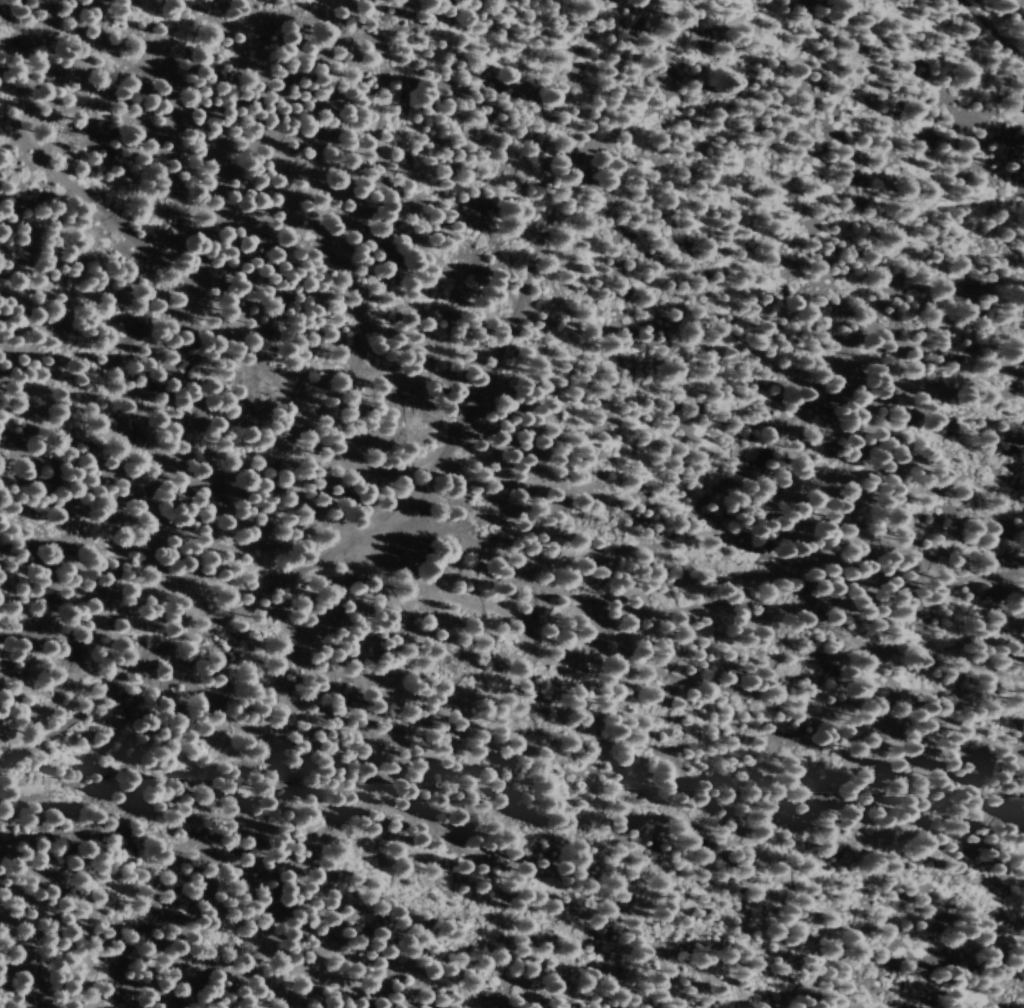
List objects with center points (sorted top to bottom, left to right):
road: (51, 16)
road: (990, 33)
road: (434, 468)
road: (693, 659)

